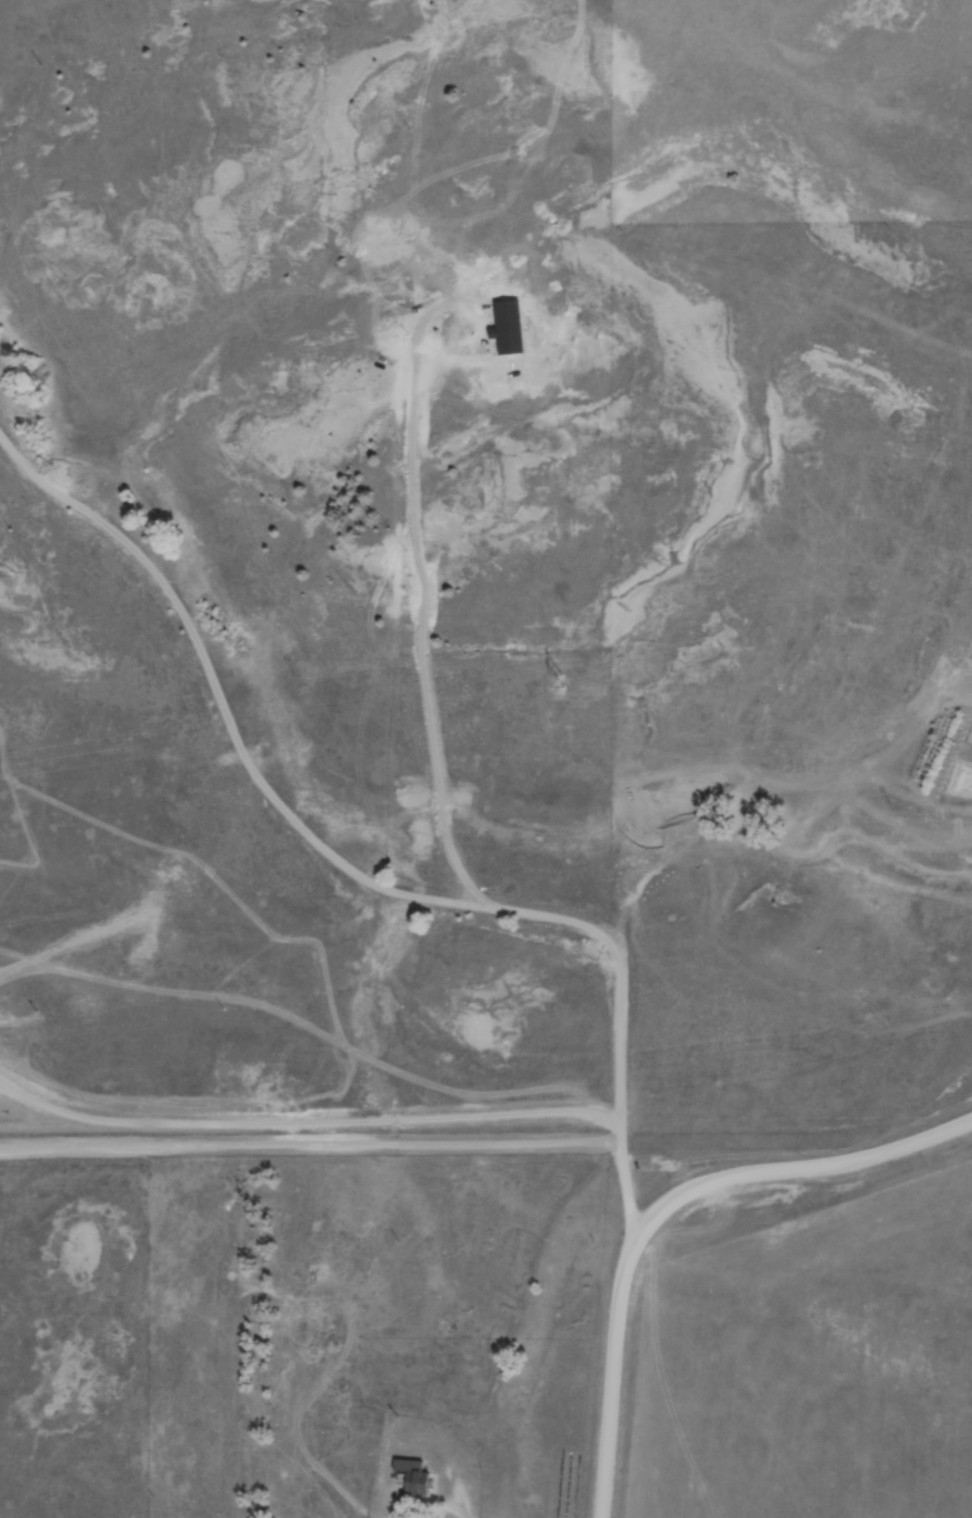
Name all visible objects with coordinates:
power tower: (560, 681)
road: (366, 876)
road: (664, 1207)
building: (317, 1235)
building: (298, 1284)
building: (327, 1344)
building: (415, 1479)

